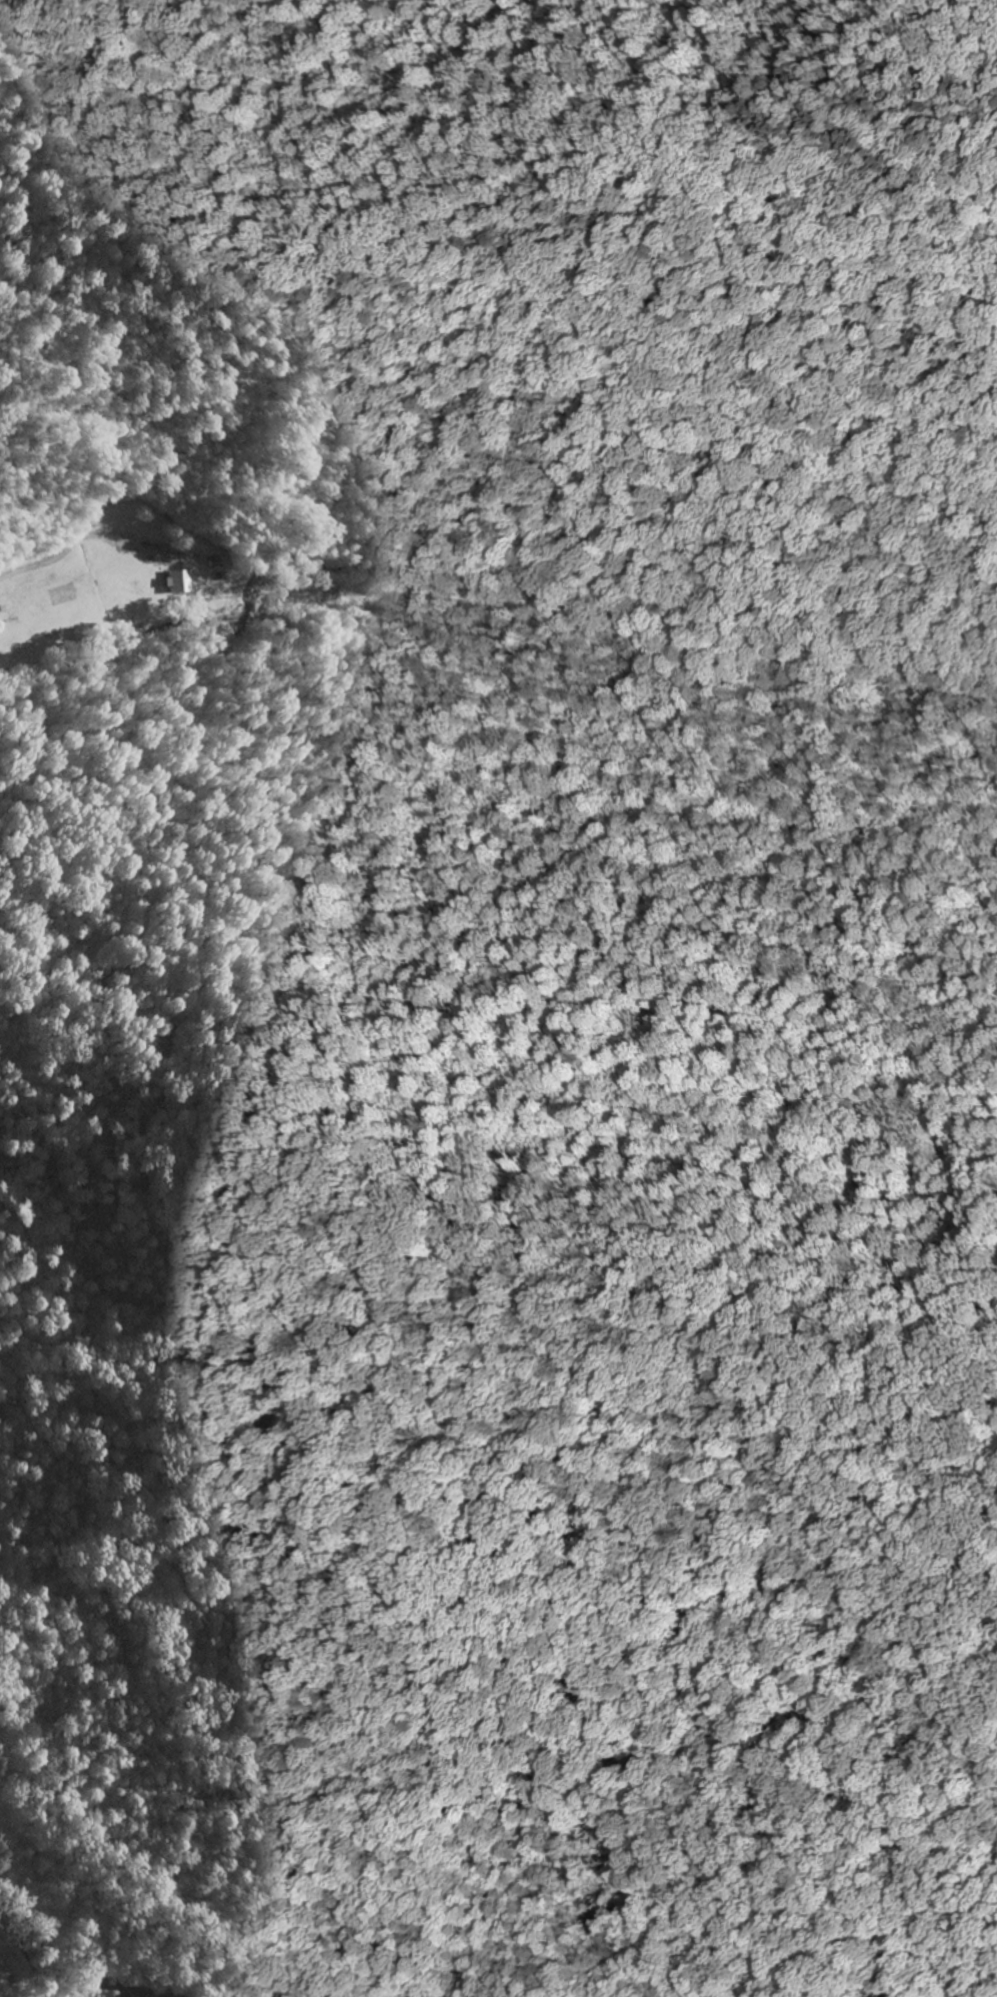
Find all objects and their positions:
road: (78, 539)
building: (183, 581)
building: (134, 1991)
building: (157, 1993)

